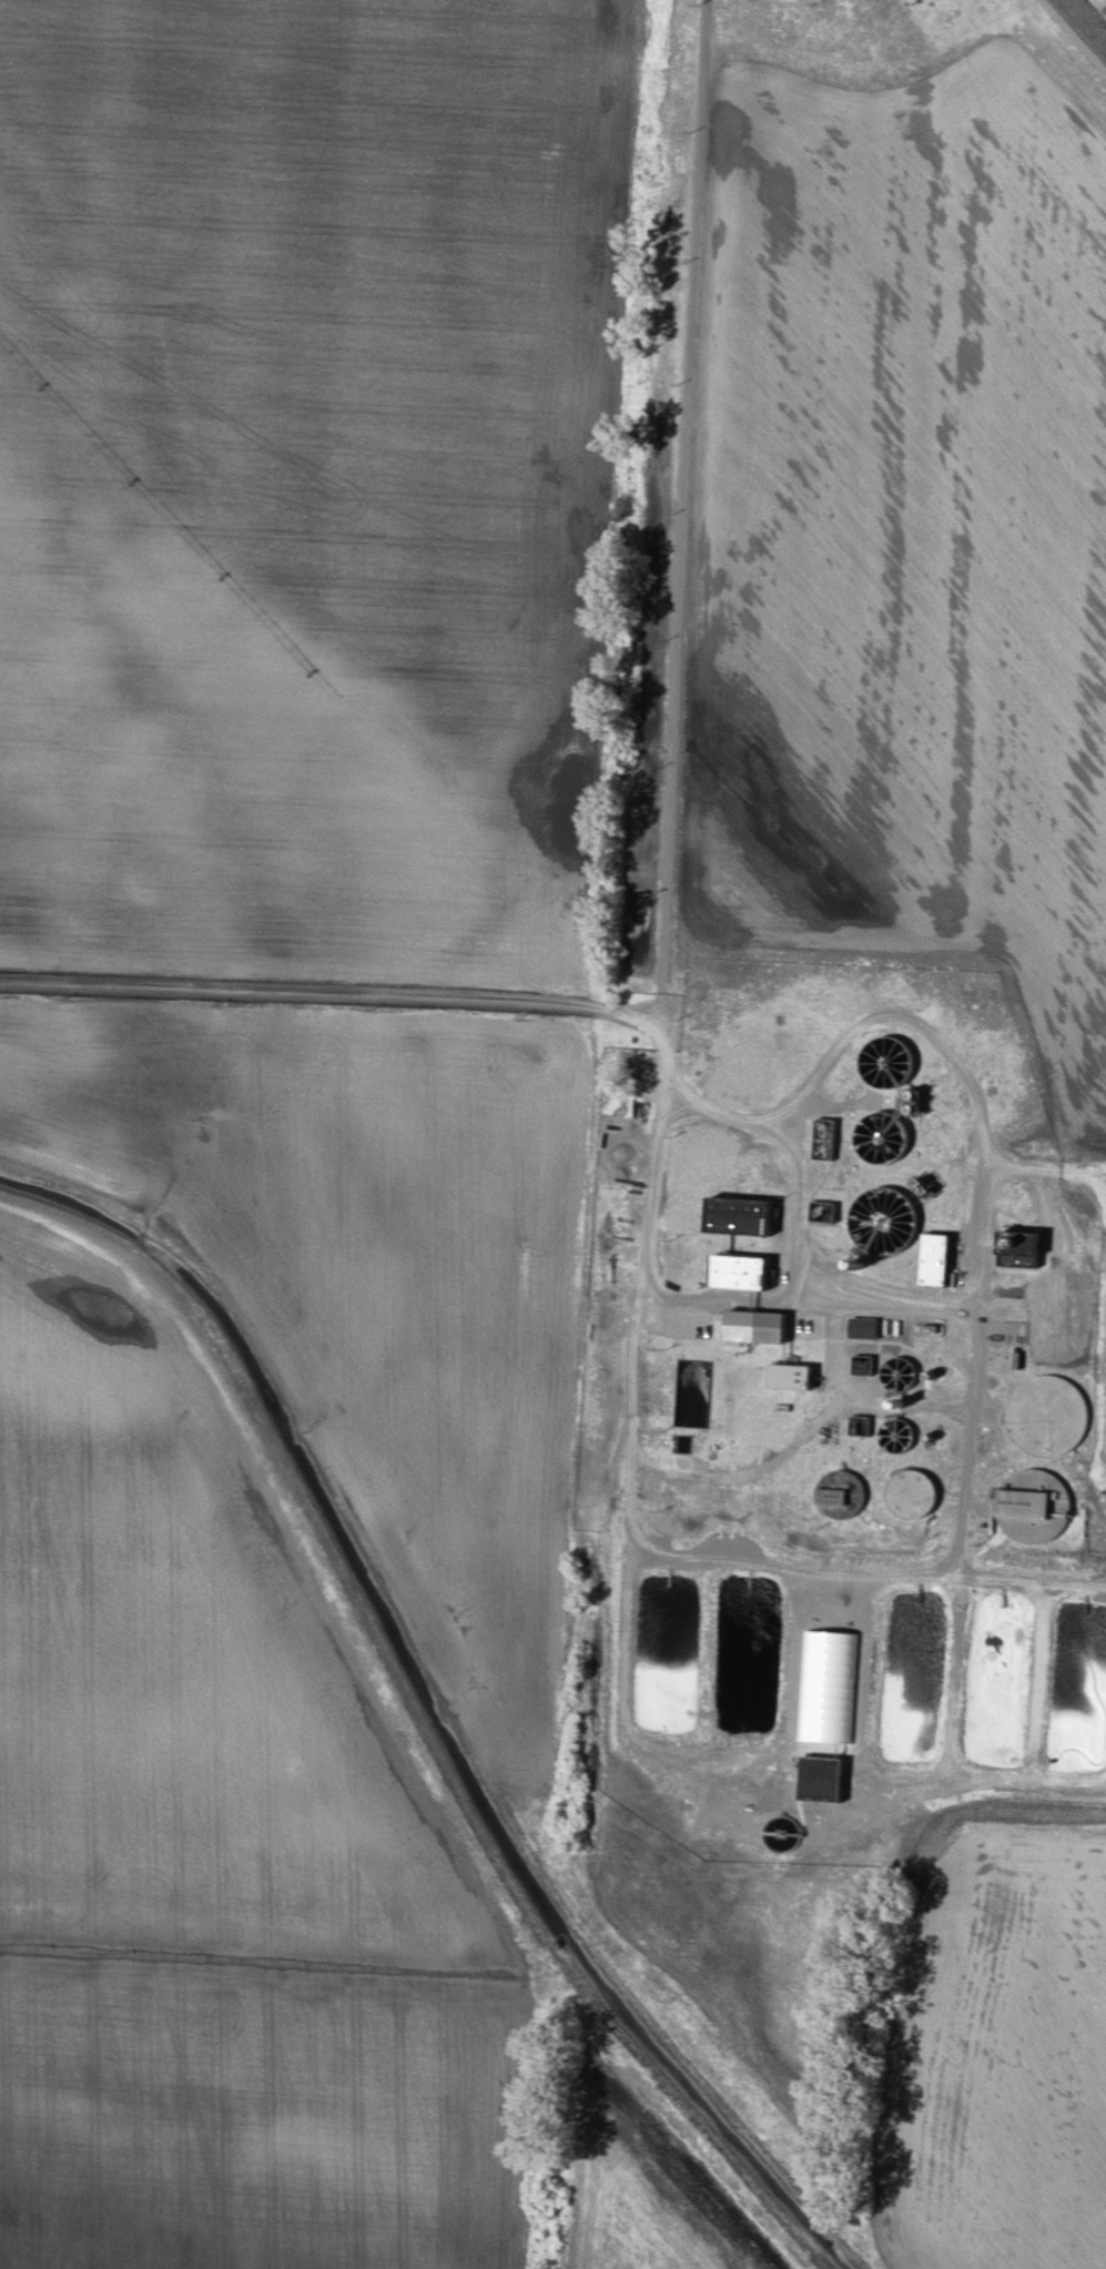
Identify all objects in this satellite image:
crop: (1105, 0)
crop: (849, 38)
road: (1069, 41)
crop: (301, 475)
crop: (903, 586)
road: (646, 1013)
building: (824, 1211)
building: (740, 1214)
building: (885, 1219)
building: (936, 1258)
building: (740, 1272)
crop: (380, 1285)
building: (757, 1326)
building: (864, 1327)
building: (792, 1376)
wastewater plant: (835, 1441)
building: (835, 1487)
building: (913, 1493)
road: (771, 1568)
building: (830, 1686)
building: (823, 1777)
crop: (214, 1844)
crop: (994, 2055)

